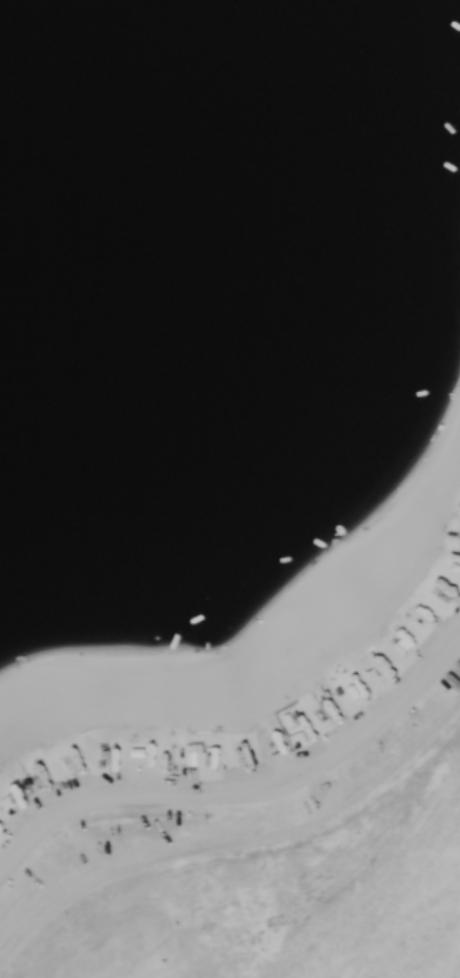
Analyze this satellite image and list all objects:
road: (251, 788)

